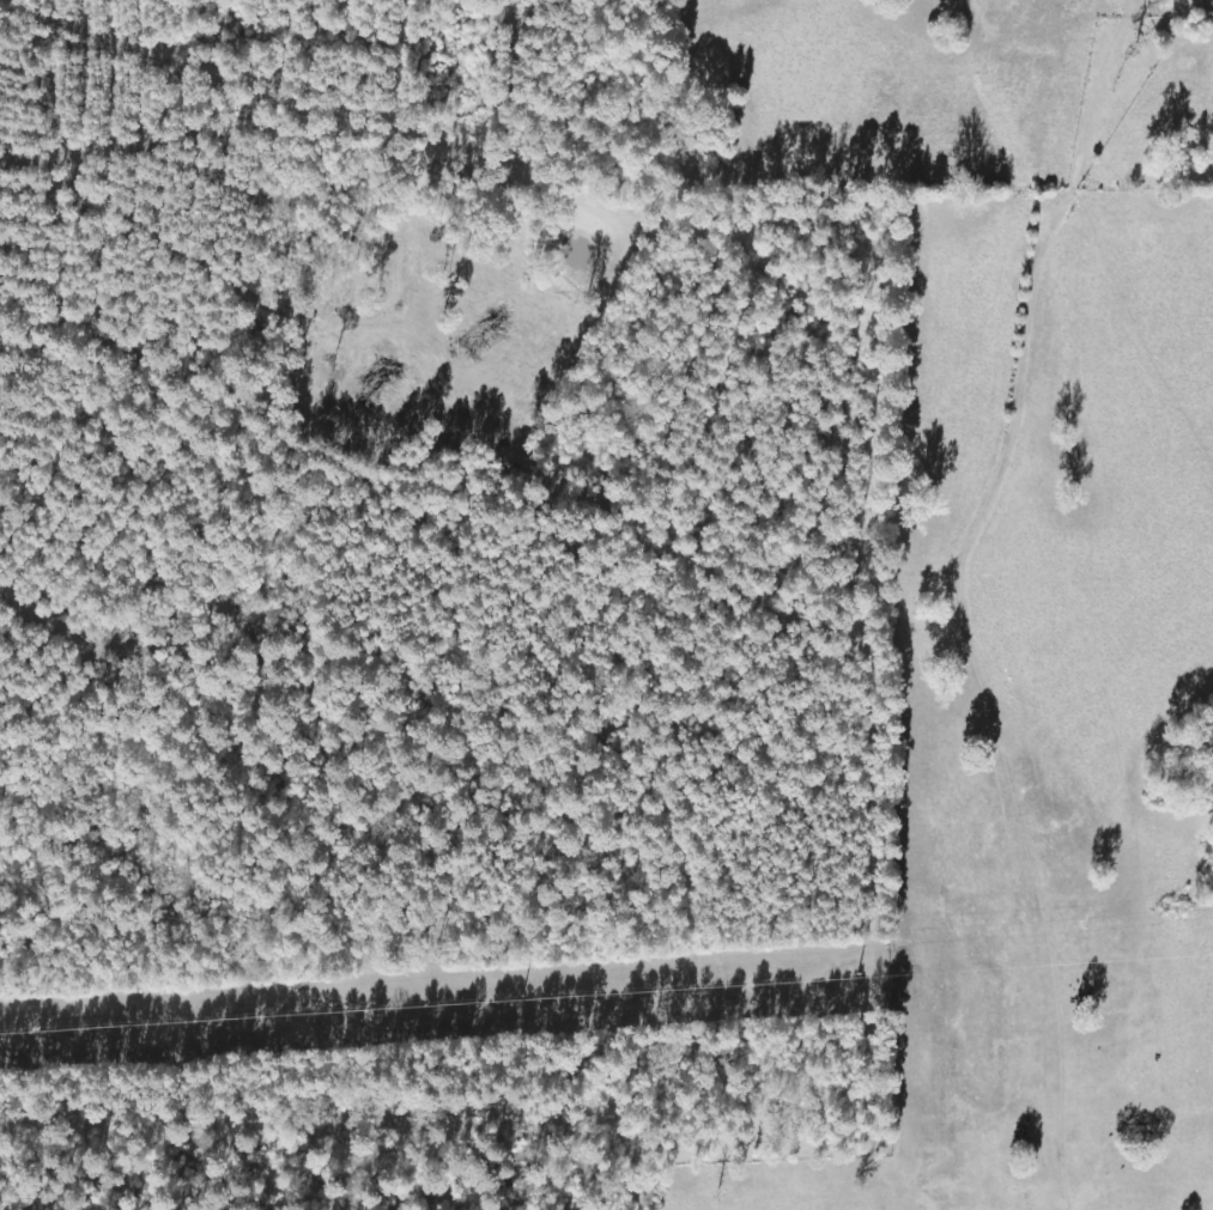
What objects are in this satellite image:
power tower: (1207, 956)
power tower: (848, 979)
power tower: (532, 1001)
power tower: (152, 1026)

